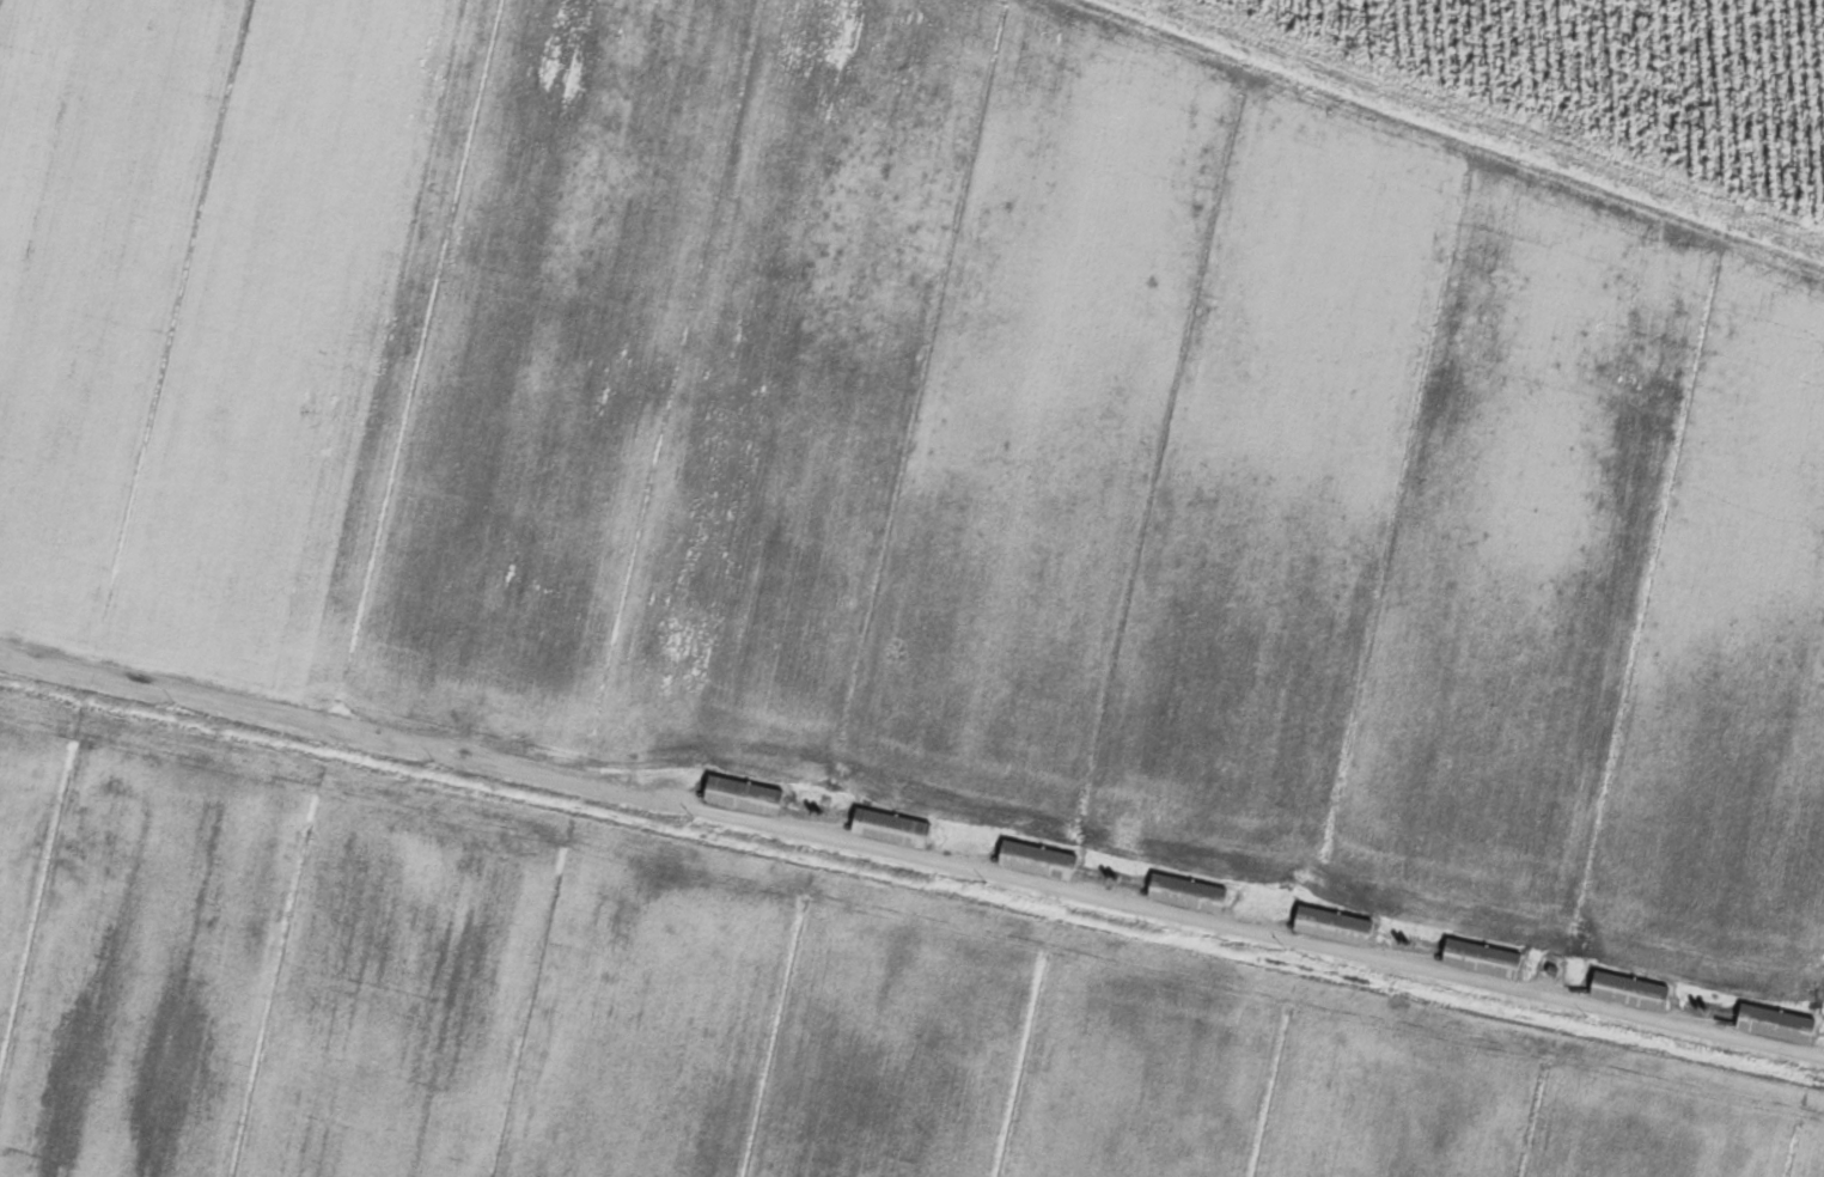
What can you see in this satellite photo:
building: (739, 795)
building: (886, 828)
road: (911, 858)
building: (1033, 860)
building: (1183, 892)
building: (1329, 926)
building: (1477, 958)
building: (1625, 992)
building: (1771, 1024)

